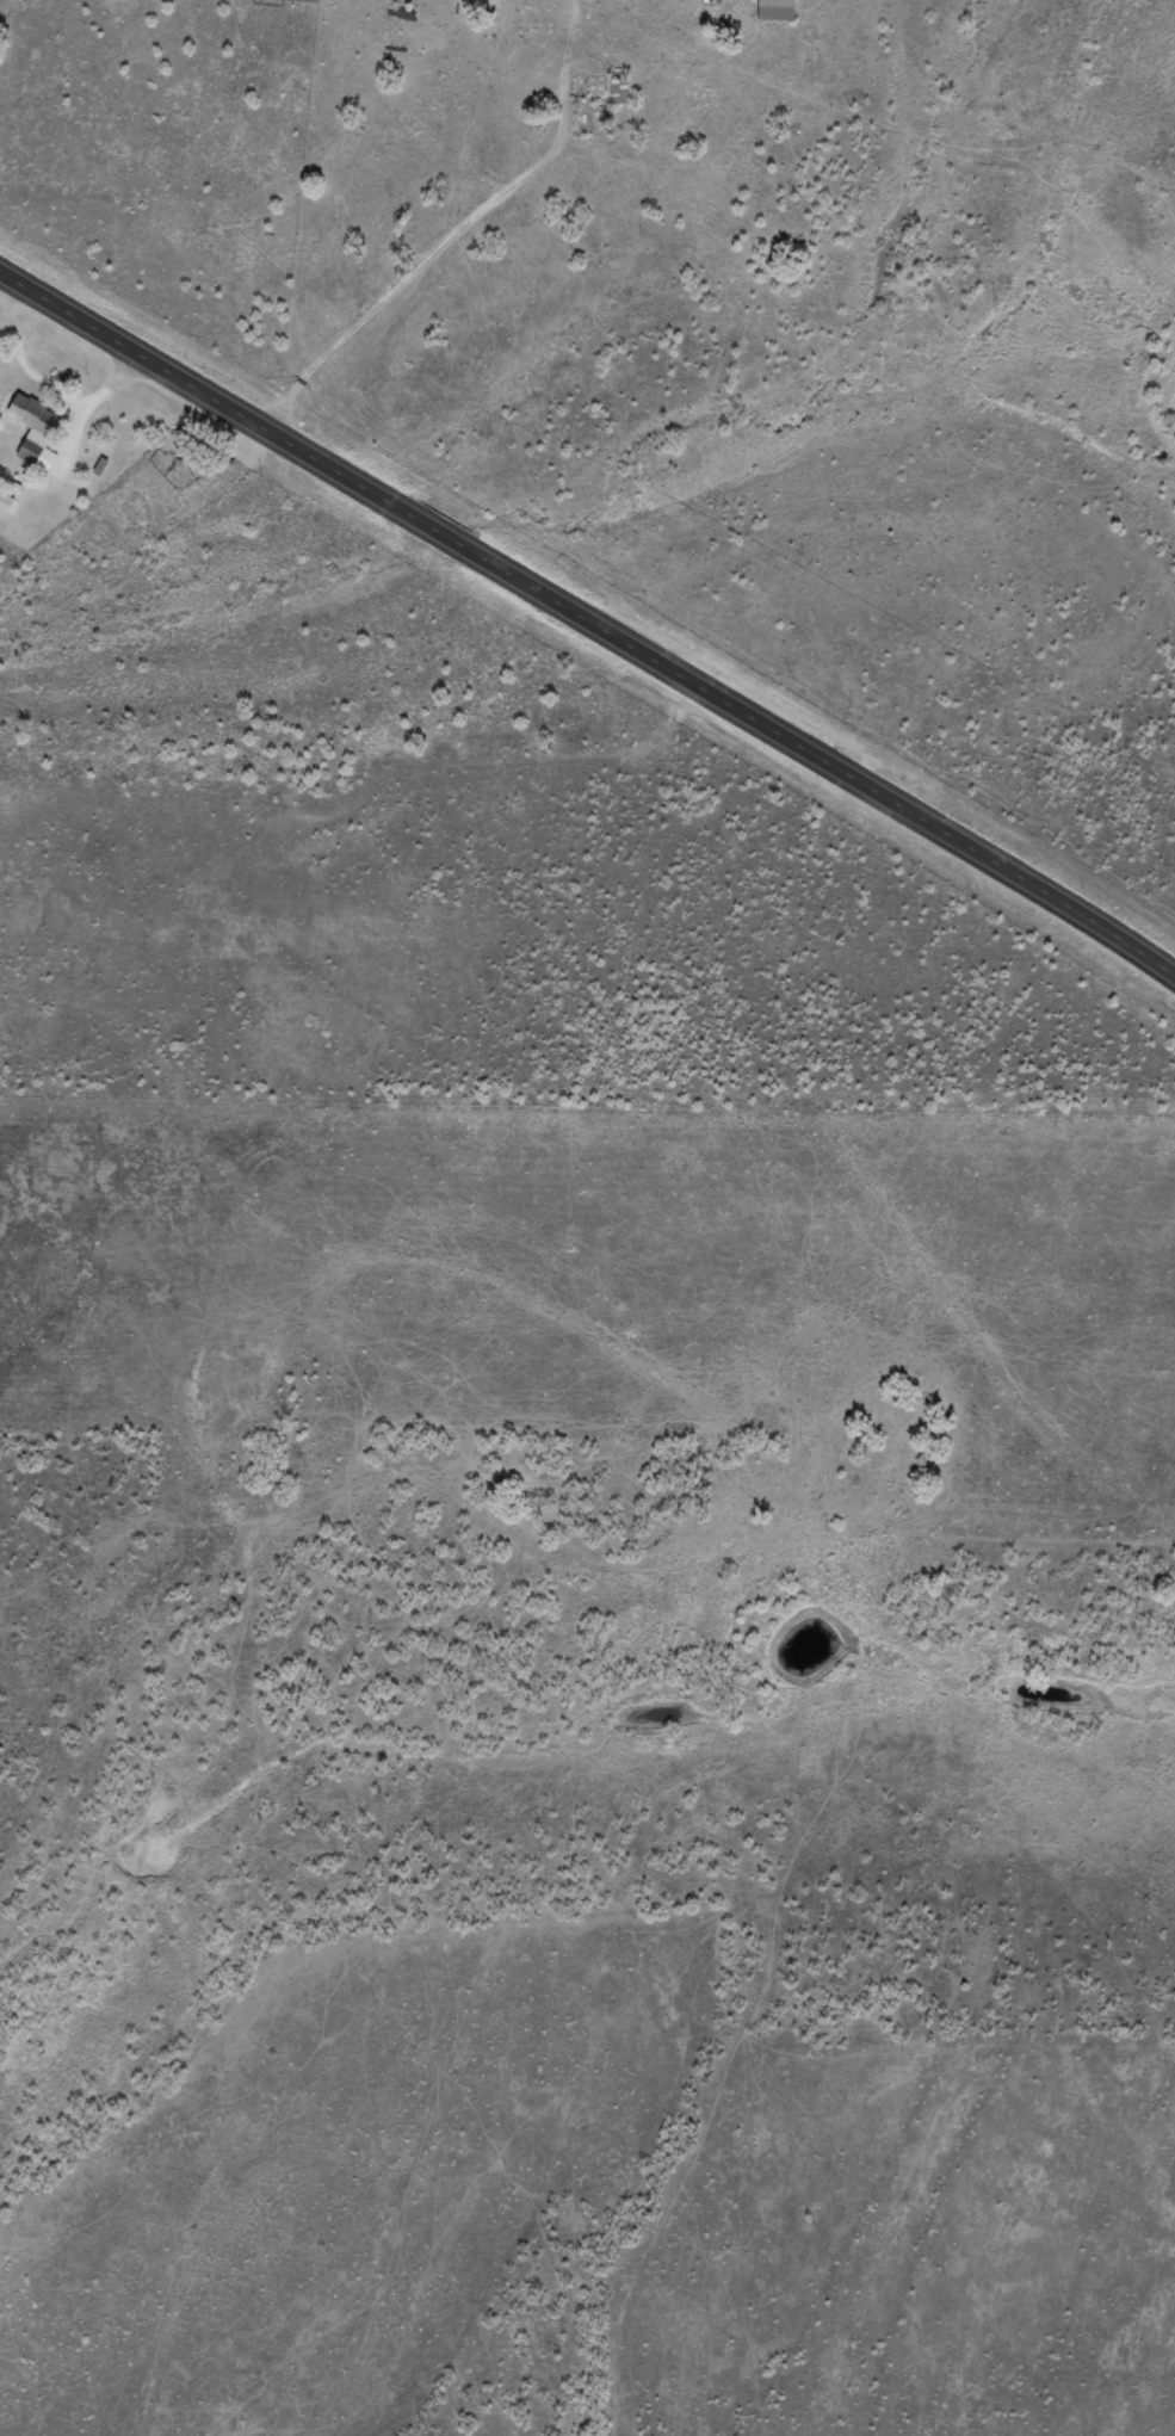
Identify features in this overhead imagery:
building: (781, 11)
building: (624, 93)
road: (435, 251)
building: (39, 432)
building: (10, 503)
road: (588, 625)

